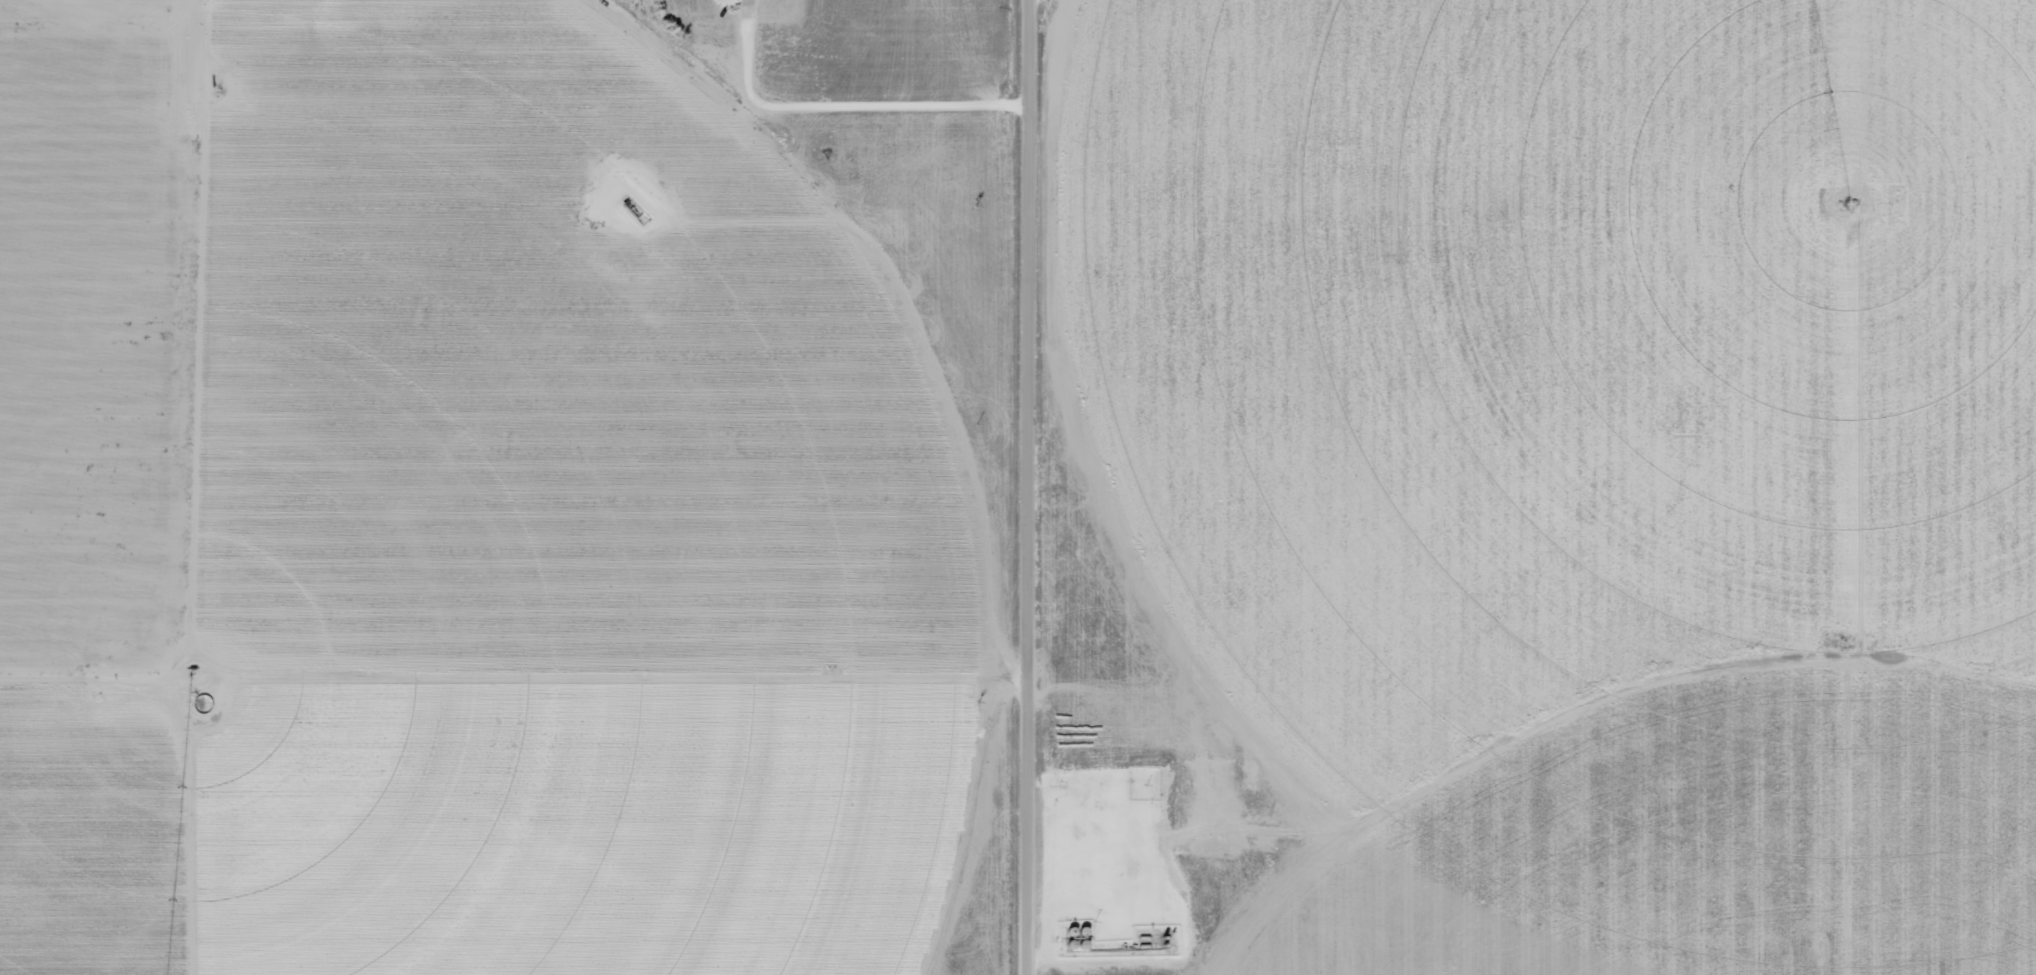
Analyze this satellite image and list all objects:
road: (1052, 749)

